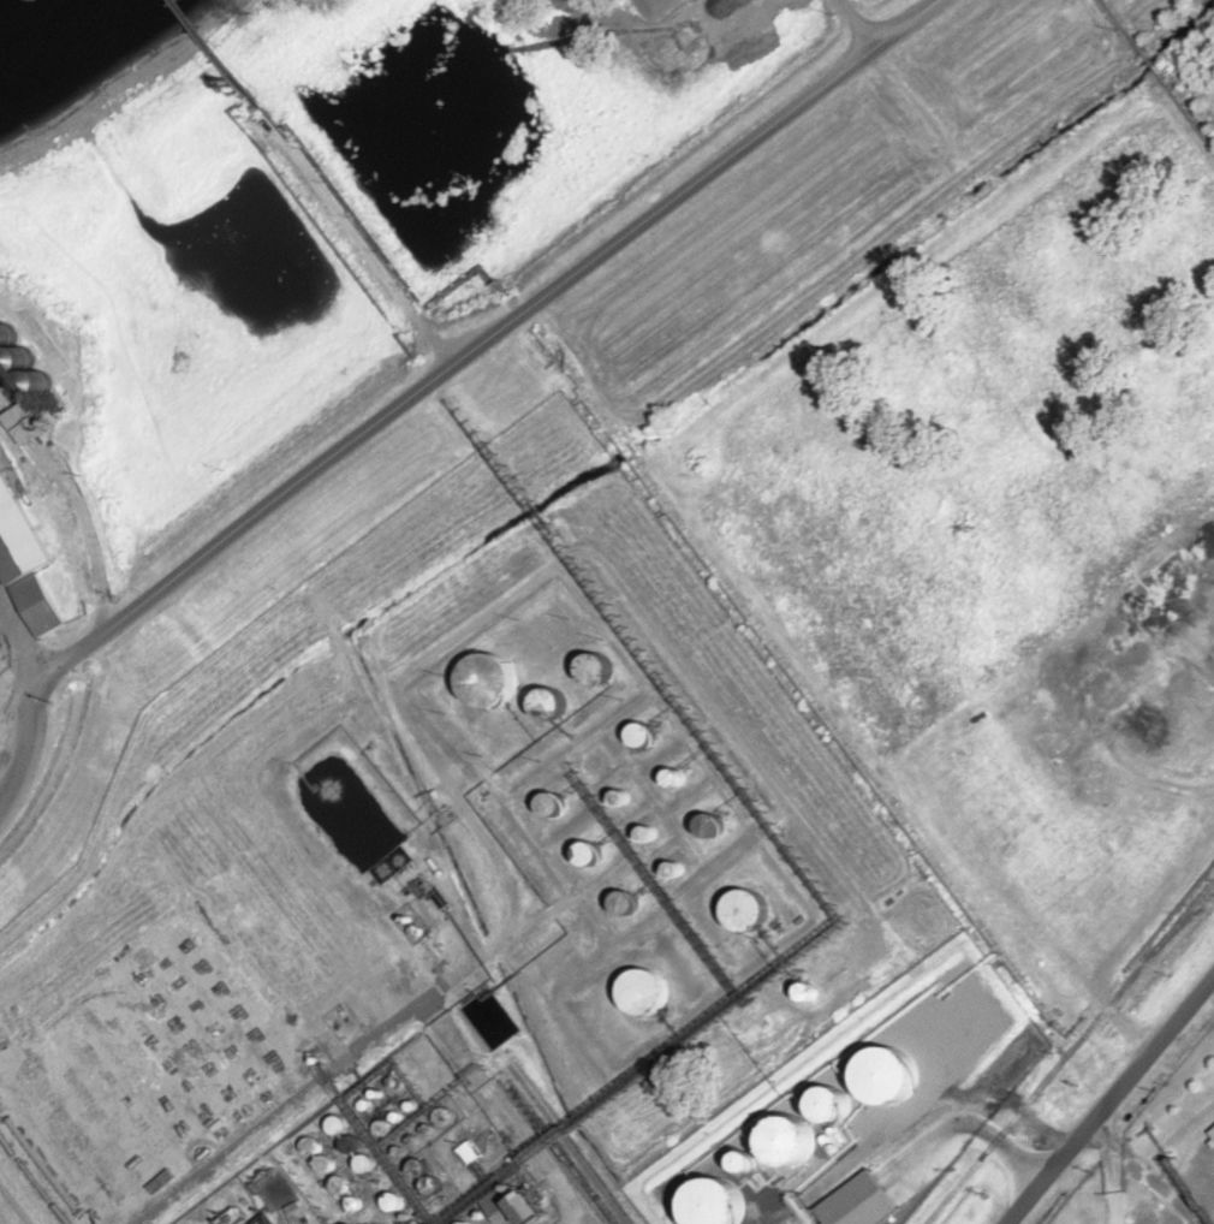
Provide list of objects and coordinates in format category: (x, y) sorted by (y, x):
road: (487, 344)
building: (24, 562)
railway: (103, 619)
building: (596, 669)
building: (487, 679)
building: (548, 702)
building: (641, 736)
road: (25, 751)
building: (676, 778)
building: (551, 802)
building: (710, 826)
building: (648, 833)
building: (588, 854)
building: (626, 902)
building: (744, 910)
building: (644, 991)
railway: (1070, 1051)
road: (1109, 1098)
building: (469, 1152)
railway: (549, 1153)
road: (220, 1154)
building: (500, 1207)
building: (529, 1207)

